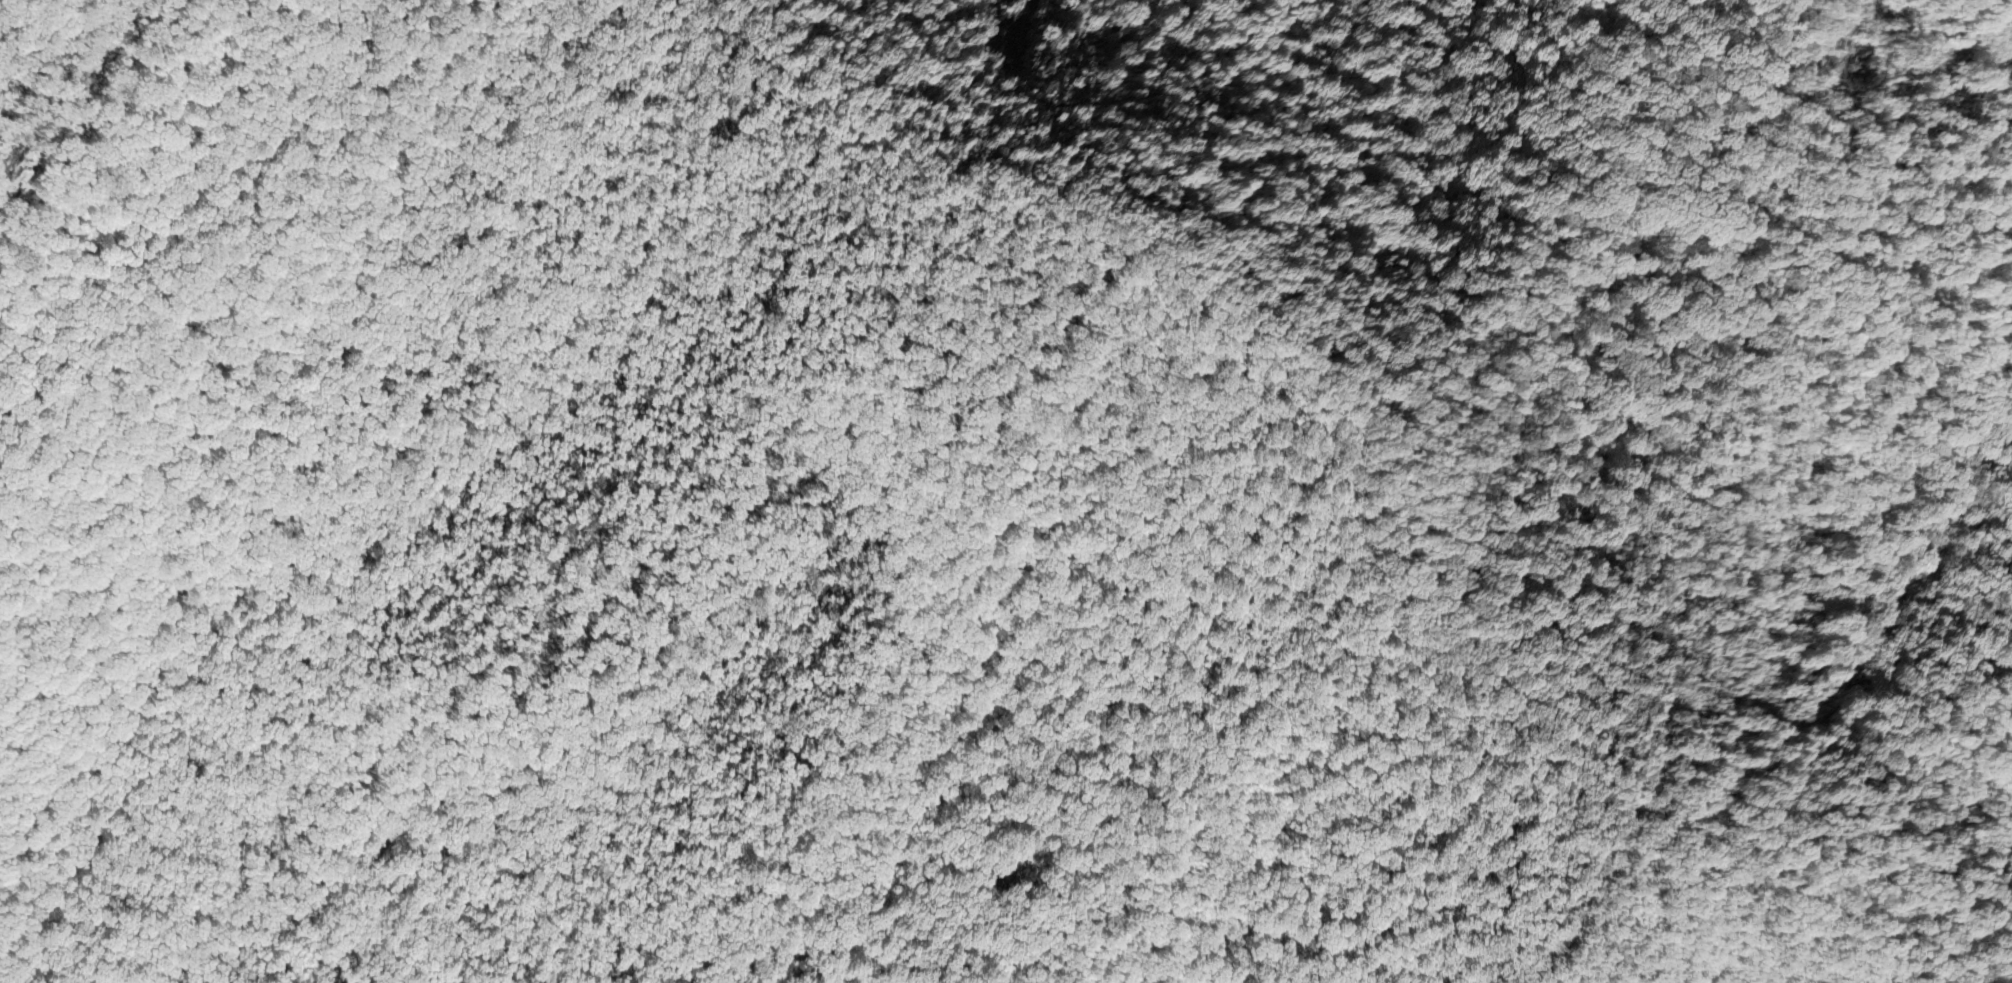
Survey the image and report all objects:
road: (934, 531)

